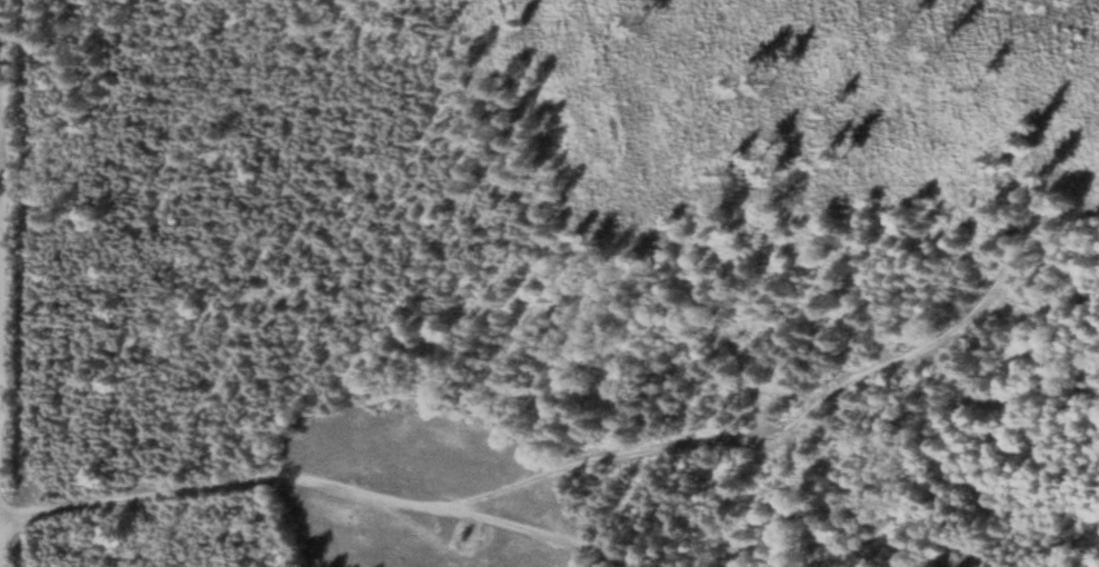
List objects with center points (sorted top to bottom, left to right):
road: (799, 417)
road: (308, 486)
petroleum well: (462, 538)

